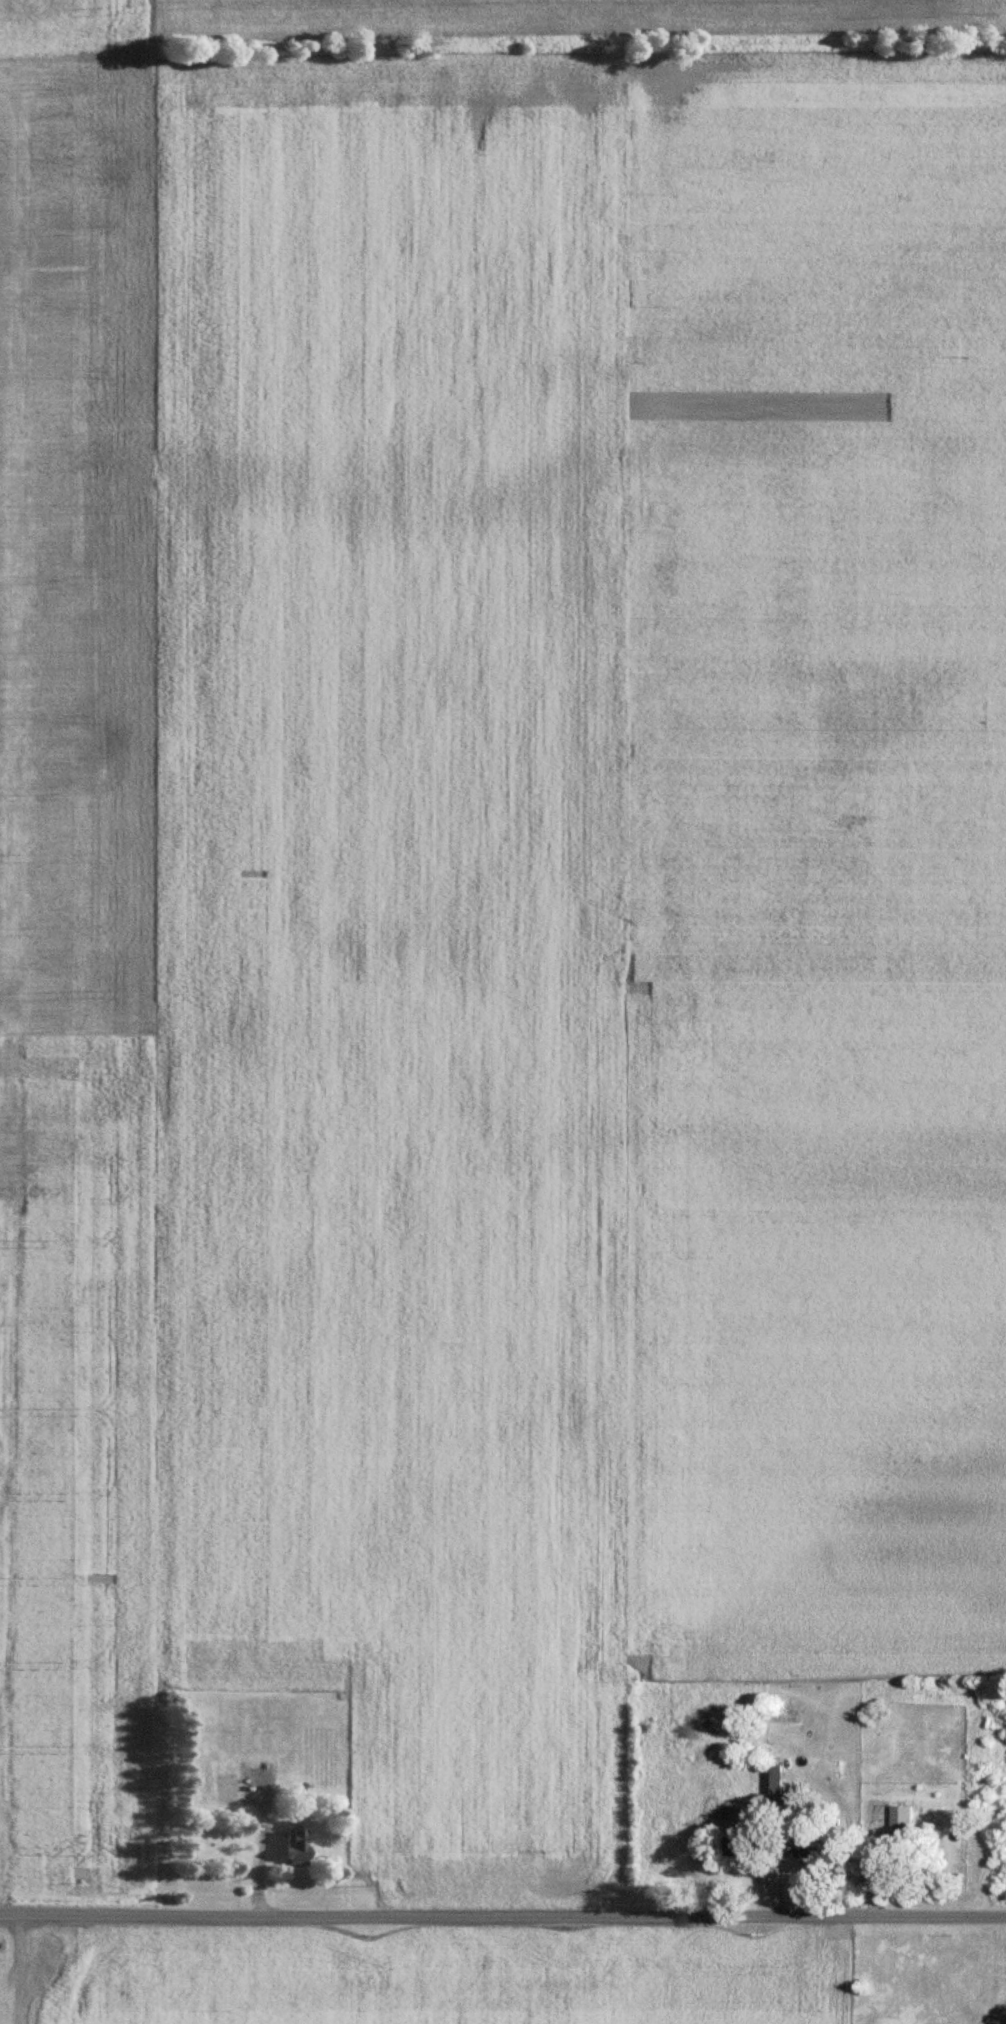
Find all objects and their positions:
building: (249, 1744)
building: (704, 1749)
building: (769, 1781)
building: (898, 1818)
building: (293, 1847)
road: (262, 1848)
building: (731, 1848)
building: (802, 1848)
road: (502, 1915)

